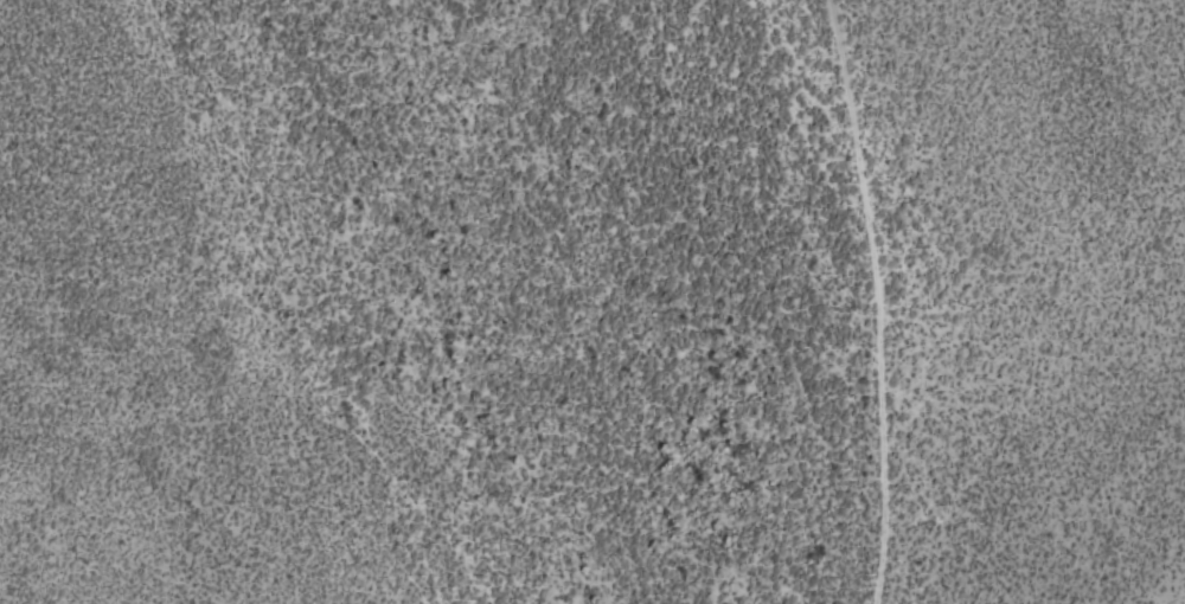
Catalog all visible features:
road: (873, 300)

